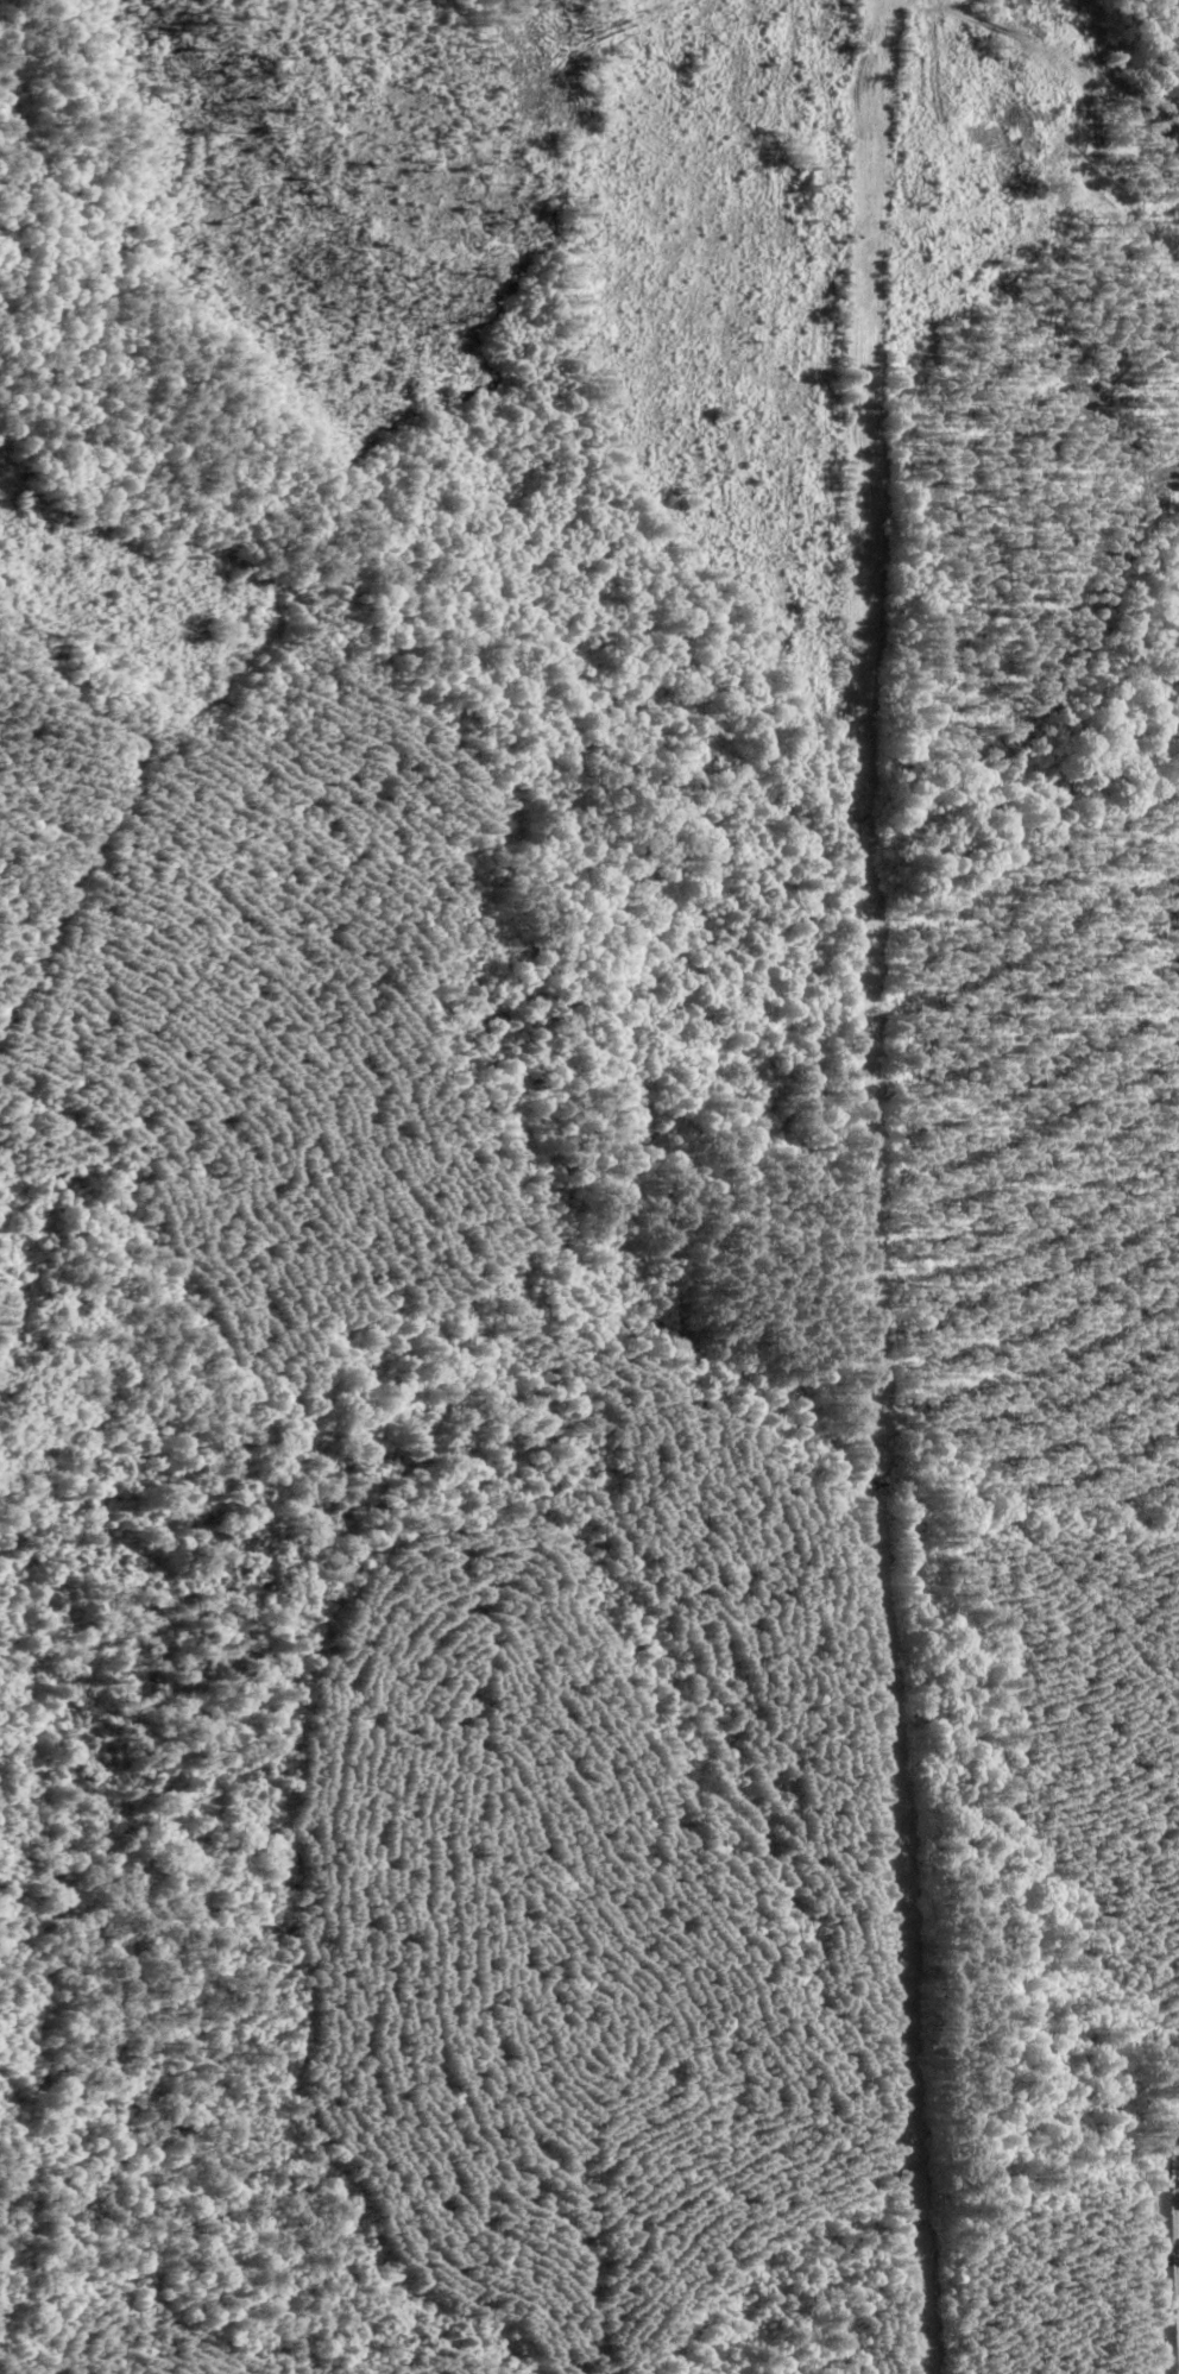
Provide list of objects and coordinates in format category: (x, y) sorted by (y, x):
road: (1165, 2230)

